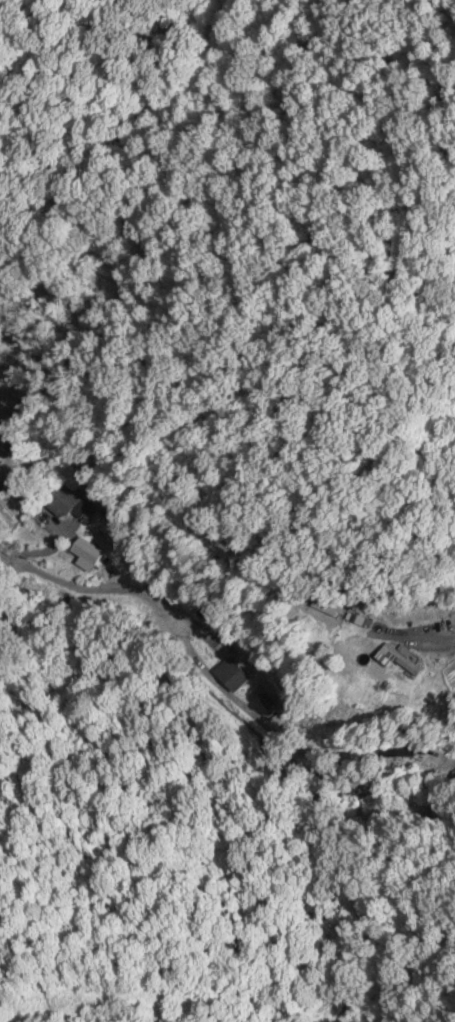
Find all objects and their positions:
building: (67, 501)
building: (85, 552)
building: (398, 656)
building: (235, 675)
building: (397, 752)

